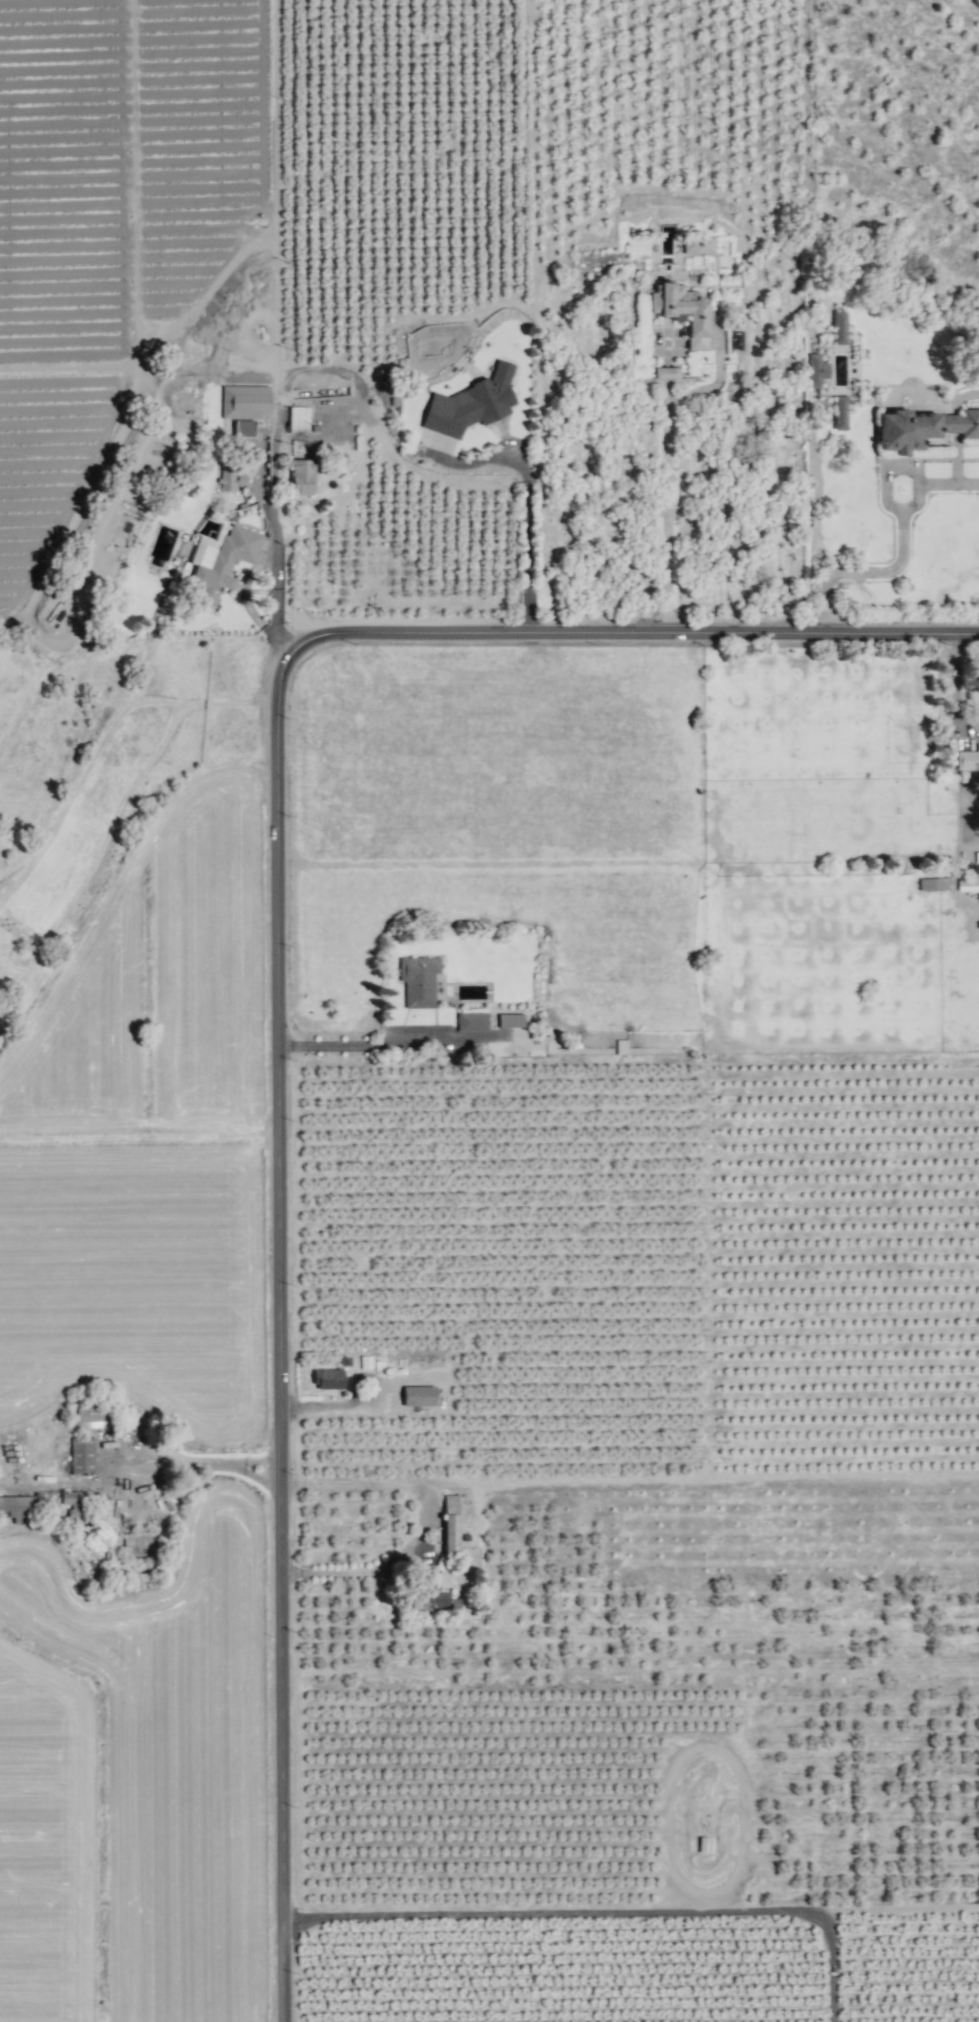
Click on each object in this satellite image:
building: (698, 244)
building: (683, 311)
building: (839, 327)
building: (815, 370)
building: (667, 372)
building: (471, 403)
building: (245, 406)
building: (840, 412)
building: (299, 418)
building: (922, 428)
road: (668, 461)
building: (232, 476)
building: (302, 476)
road: (526, 539)
road: (899, 551)
building: (220, 561)
road: (275, 581)
road: (954, 679)
building: (968, 882)
building: (933, 884)
building: (418, 980)
road: (276, 986)
building: (511, 1020)
building: (472, 1021)
road: (391, 1042)
building: (343, 1361)
building: (328, 1378)
building: (418, 1395)
building: (90, 1412)
building: (82, 1454)
road: (167, 1457)
road: (234, 1466)
road: (379, 1481)
building: (74, 1503)
building: (16, 1506)
building: (450, 1523)
road: (354, 1572)
building: (435, 1596)
road: (605, 1910)

